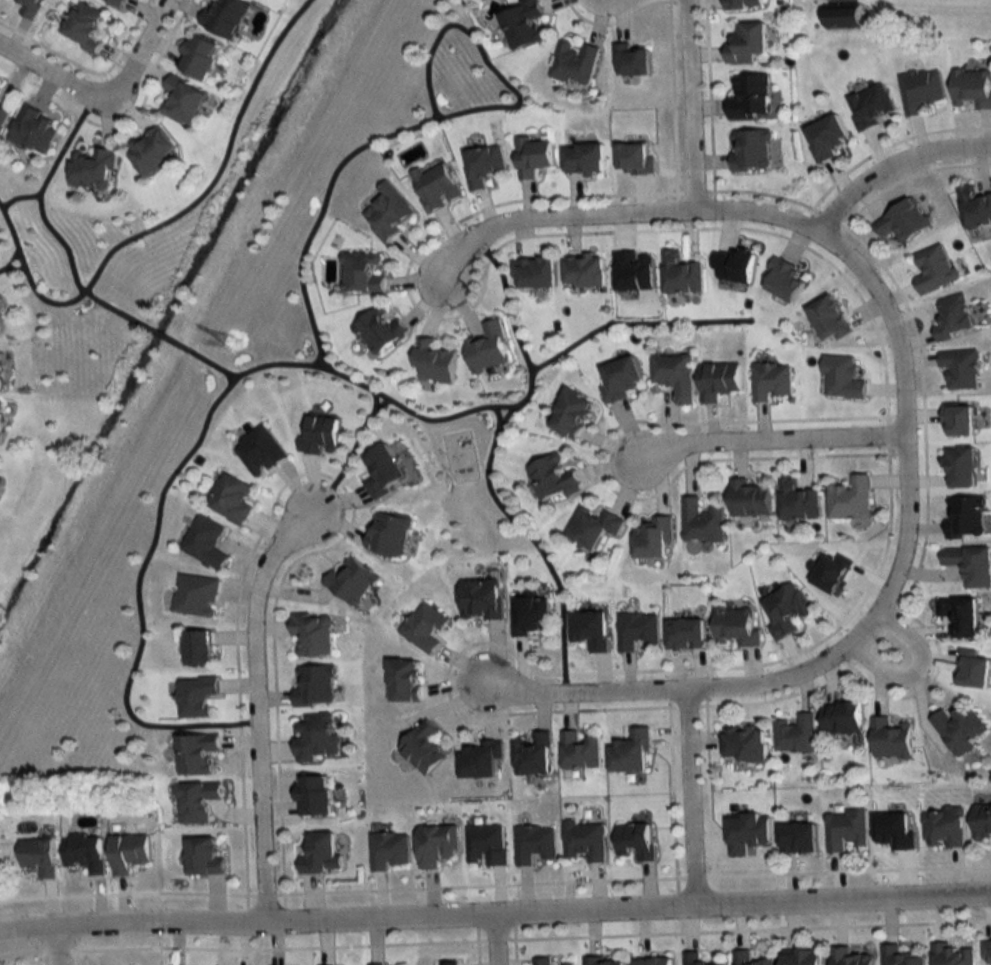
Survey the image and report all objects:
building: (116, 2)
building: (743, 4)
building: (30, 8)
building: (224, 17)
building: (842, 18)
building: (524, 24)
building: (83, 27)
building: (748, 43)
road: (140, 51)
building: (199, 57)
building: (631, 60)
building: (574, 62)
road: (52, 76)
road: (425, 80)
building: (0, 89)
building: (971, 89)
building: (920, 90)
building: (749, 96)
building: (182, 100)
road: (693, 103)
building: (871, 105)
building: (3, 115)
building: (34, 130)
building: (825, 137)
building: (749, 151)
building: (151, 152)
building: (532, 156)
building: (583, 159)
road: (893, 161)
building: (483, 164)
building: (93, 169)
road: (342, 172)
building: (434, 187)
building: (974, 208)
road: (18, 210)
road: (560, 212)
building: (387, 213)
road: (40, 216)
building: (902, 222)
road: (166, 224)
building: (734, 266)
building: (934, 270)
building: (584, 271)
building: (362, 272)
building: (533, 273)
building: (680, 274)
road: (12, 276)
building: (783, 279)
building: (954, 317)
building: (829, 319)
building: (379, 330)
power tower: (240, 340)
road: (151, 342)
building: (487, 348)
building: (433, 362)
building: (960, 368)
building: (0, 369)
road: (536, 371)
road: (211, 375)
building: (674, 375)
building: (842, 377)
building: (621, 378)
building: (718, 381)
building: (771, 381)
building: (570, 413)
building: (0, 416)
building: (321, 435)
road: (775, 436)
building: (259, 451)
road: (909, 451)
road: (348, 453)
building: (961, 468)
building: (383, 471)
road: (187, 472)
building: (553, 479)
building: (230, 499)
building: (748, 499)
building: (849, 499)
building: (797, 502)
building: (964, 518)
building: (701, 522)
building: (592, 527)
building: (388, 534)
building: (653, 538)
building: (206, 540)
building: (970, 565)
building: (350, 582)
building: (196, 593)
building: (480, 600)
building: (785, 611)
building: (531, 616)
building: (960, 617)
building: (424, 627)
building: (736, 627)
building: (590, 631)
building: (637, 632)
building: (312, 635)
building: (686, 635)
building: (198, 649)
road: (918, 667)
building: (402, 681)
building: (313, 686)
road: (587, 689)
building: (194, 696)
road: (259, 704)
building: (842, 719)
building: (960, 729)
building: (795, 734)
building: (315, 736)
building: (891, 739)
building: (744, 745)
building: (422, 748)
building: (579, 751)
building: (196, 753)
building: (631, 753)
building: (532, 754)
building: (481, 759)
building: (313, 793)
road: (694, 793)
building: (196, 800)
building: (982, 823)
building: (943, 826)
building: (846, 829)
building: (746, 832)
building: (798, 837)
building: (634, 839)
building: (584, 840)
building: (436, 844)
building: (534, 844)
building: (486, 845)
building: (389, 849)
building: (84, 852)
building: (127, 852)
building: (320, 853)
building: (38, 856)
building: (203, 856)
road: (495, 910)
road: (498, 937)
road: (61, 944)
building: (986, 952)
building: (953, 954)
building: (899, 956)
building: (802, 957)
building: (849, 957)
building: (696, 959)
building: (748, 959)
building: (604, 961)
building: (653, 961)
building: (547, 962)
building: (449, 963)
building: (376, 964)

